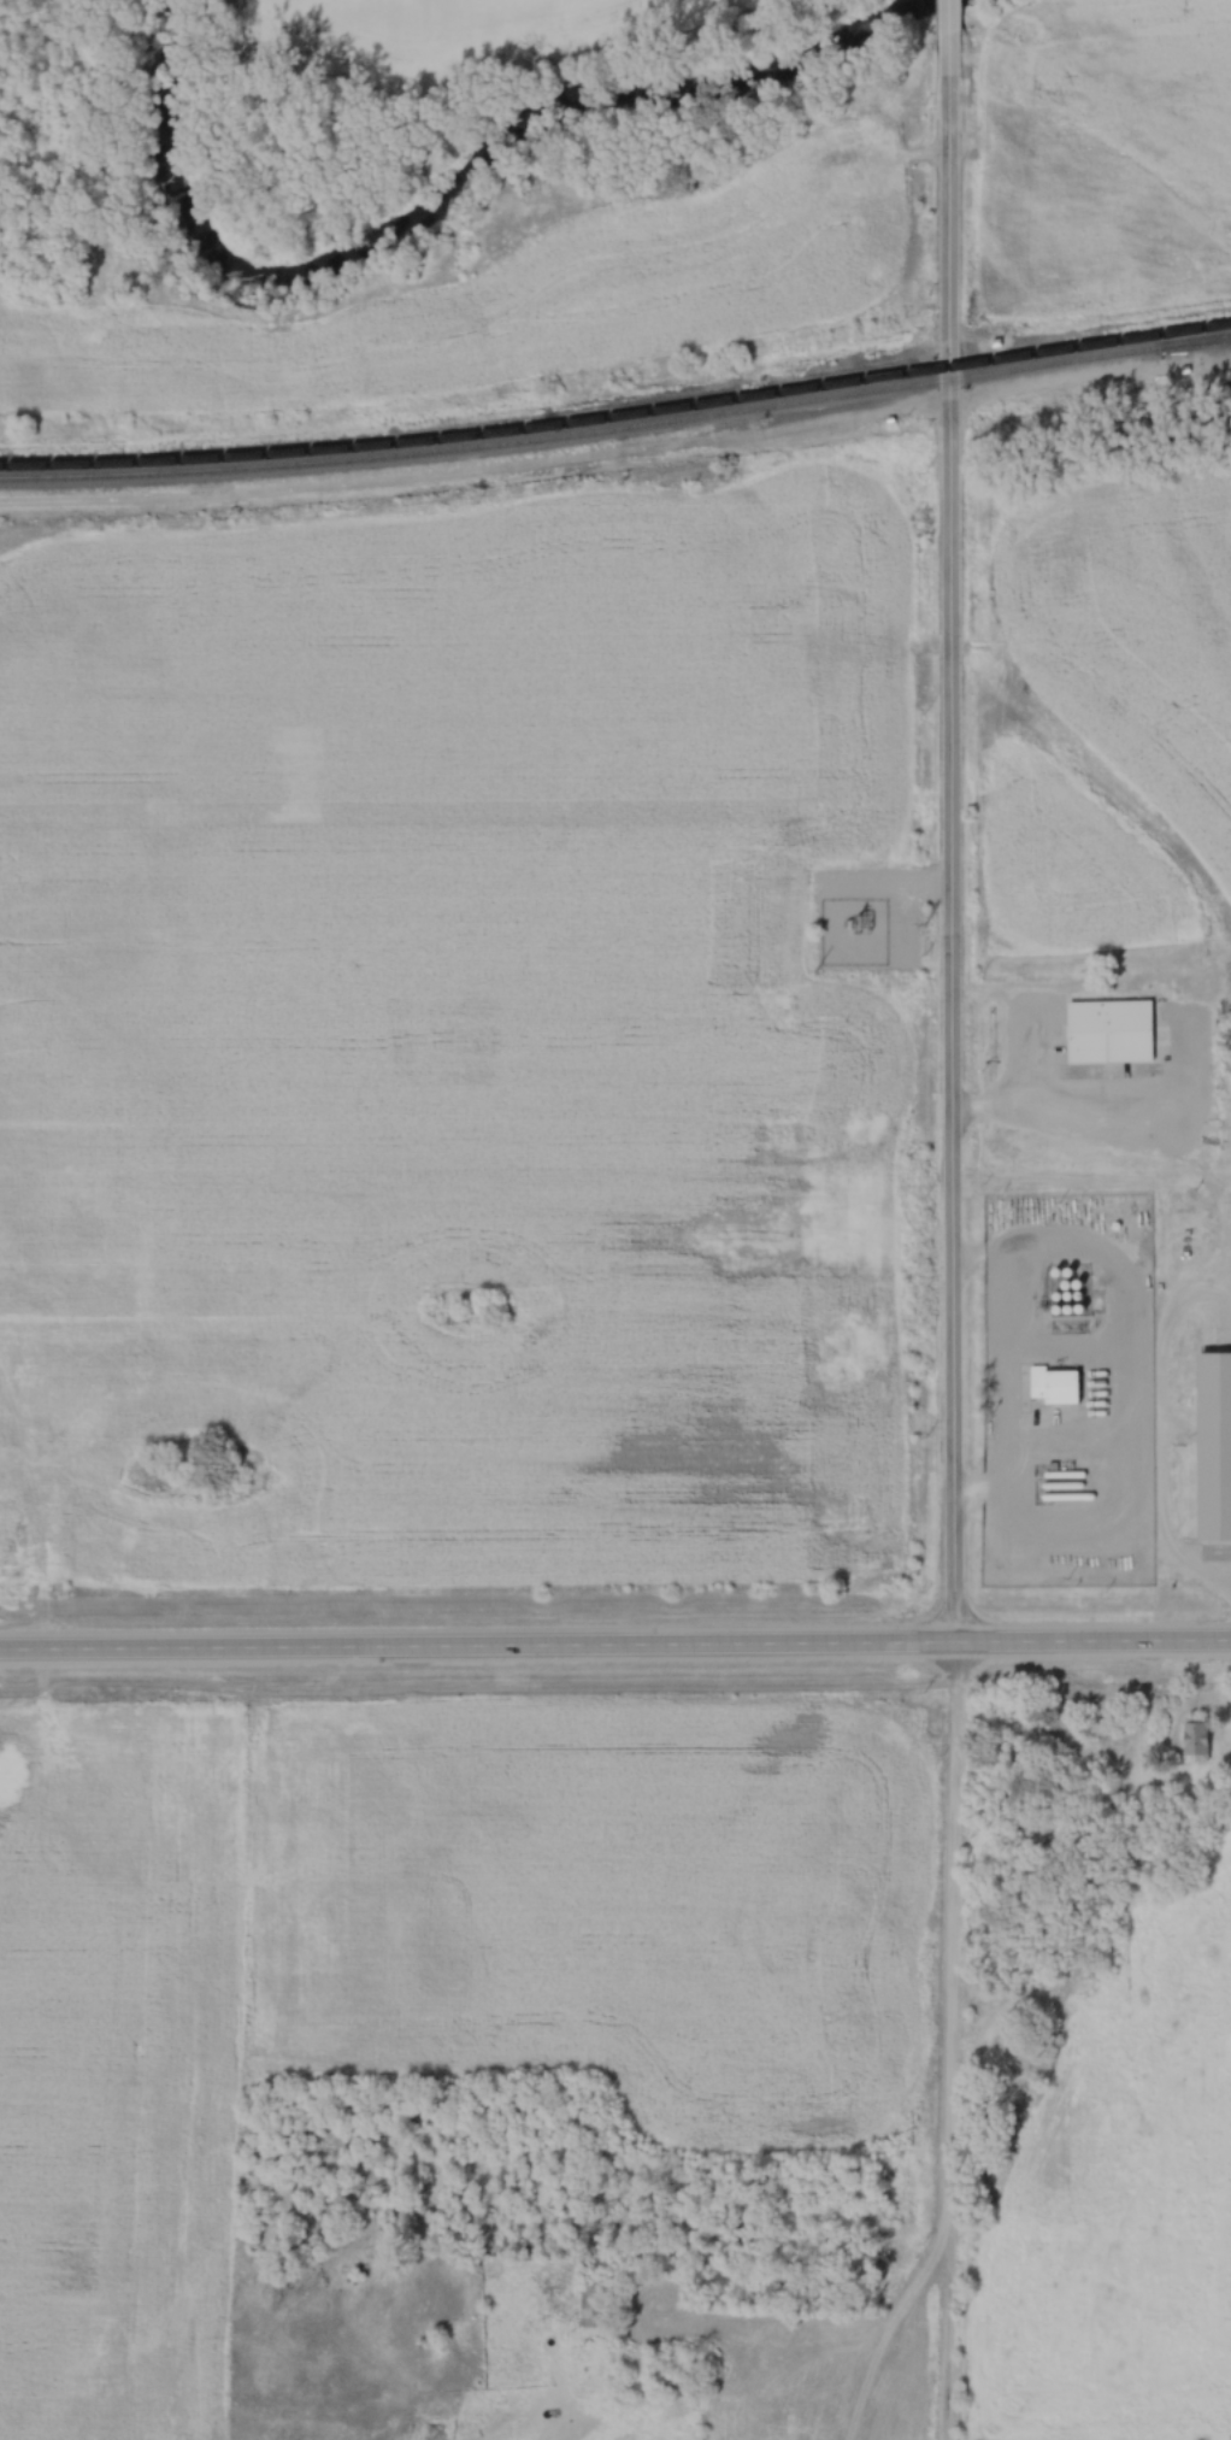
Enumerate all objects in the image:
road: (947, 214)
railway: (618, 416)
railway: (617, 428)
building: (1106, 1030)
road: (949, 1035)
road: (1013, 1381)
building: (1050, 1386)
building: (1212, 1444)
road: (614, 1640)
building: (1192, 1740)
building: (1105, 1791)
road: (952, 2040)
building: (512, 2248)
building: (593, 2305)

